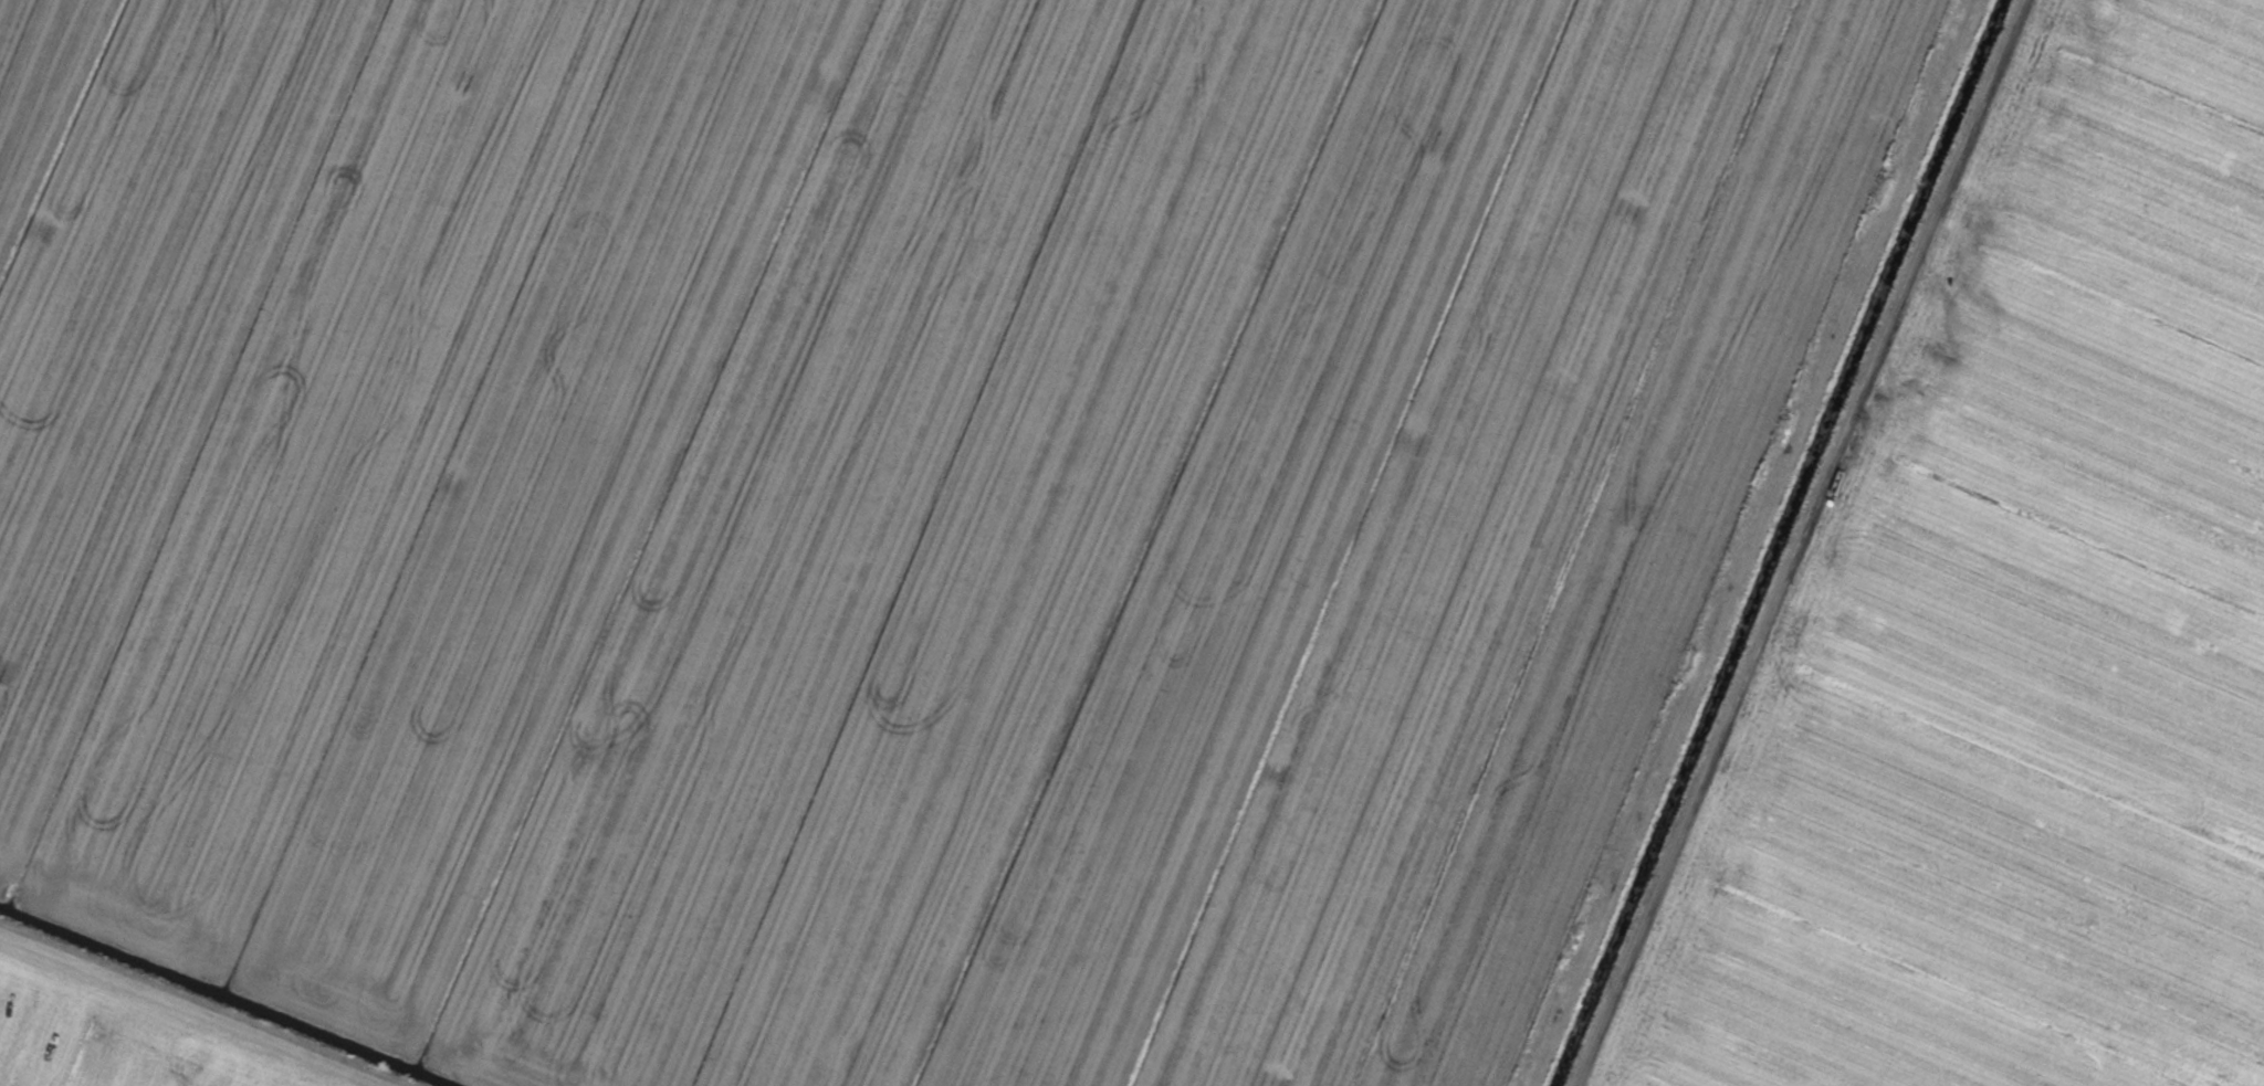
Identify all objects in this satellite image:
crop: (1132, 542)
road: (1734, 542)
road: (169, 1016)

